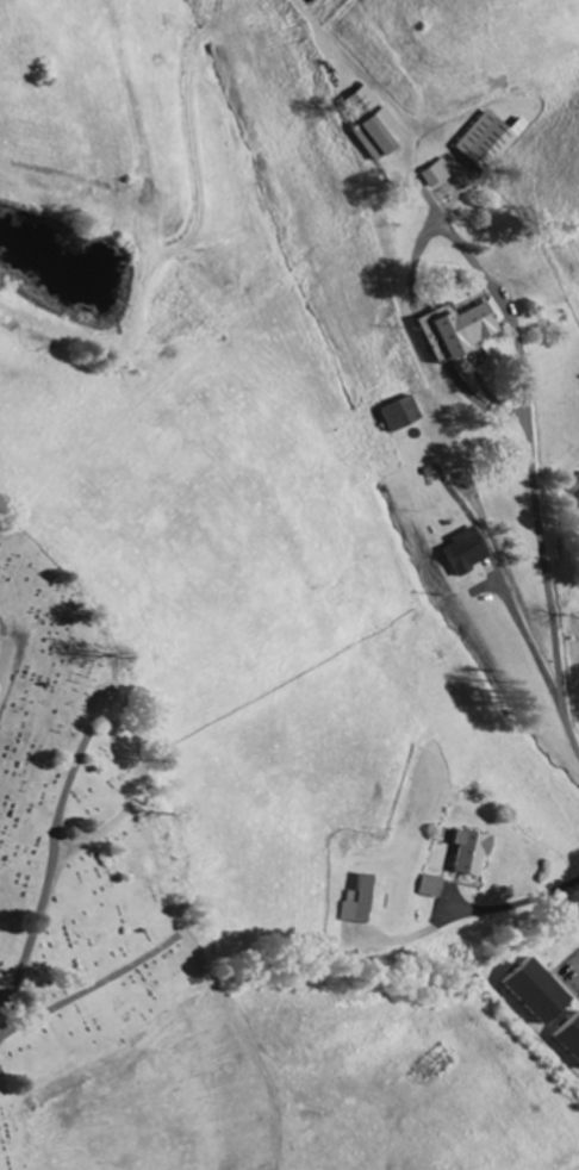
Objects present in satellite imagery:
building: (378, 126)
building: (494, 139)
building: (440, 176)
building: (468, 331)
building: (405, 415)
building: (468, 552)
park: (75, 847)
building: (474, 853)
road: (49, 865)
building: (434, 888)
building: (366, 901)
road: (578, 959)
building: (546, 992)
building: (573, 1035)

